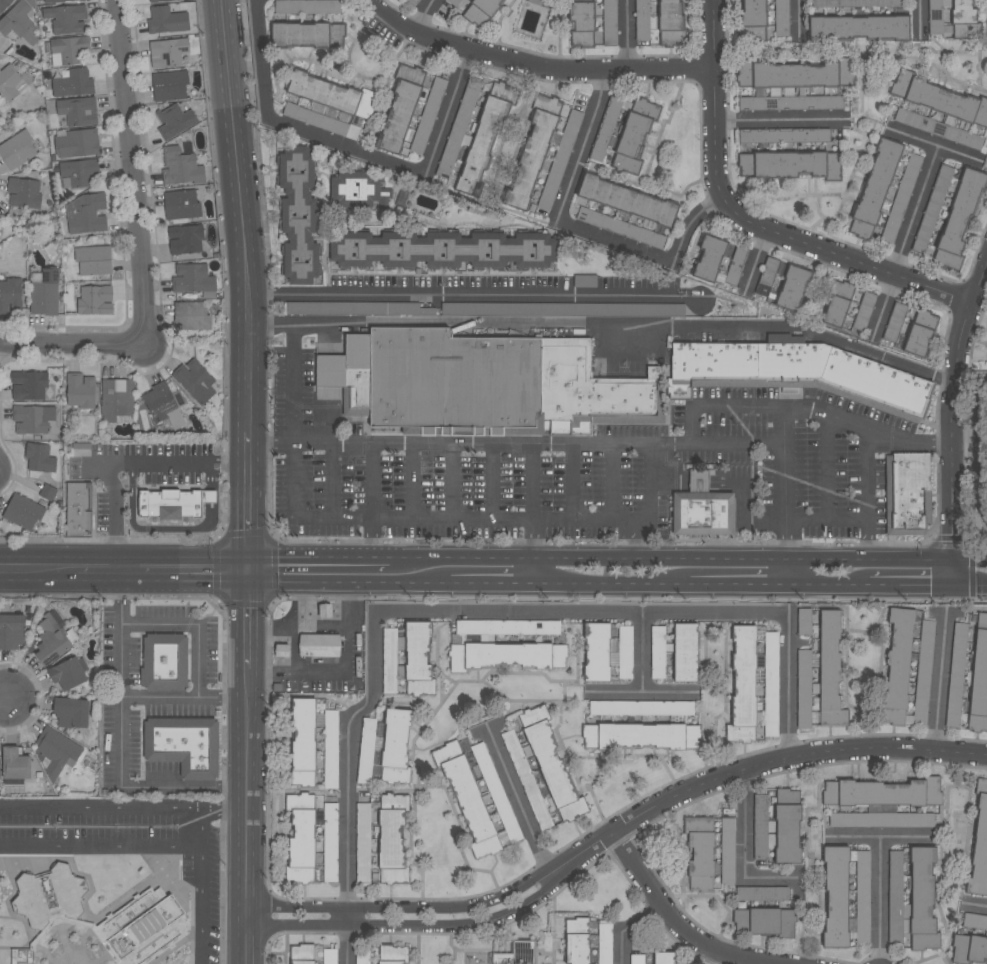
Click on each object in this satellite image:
building: (82, 0)
building: (157, 0)
building: (56, 1)
building: (412, 2)
building: (453, 2)
building: (856, 3)
building: (4, 4)
building: (307, 6)
building: (481, 12)
road: (425, 15)
building: (67, 18)
building: (781, 18)
building: (752, 19)
road: (797, 19)
road: (919, 19)
building: (167, 20)
building: (964, 20)
building: (609, 22)
building: (660, 22)
building: (19, 23)
building: (581, 24)
building: (857, 28)
road: (418, 32)
building: (307, 35)
road: (628, 36)
building: (69, 50)
building: (168, 52)
road: (591, 70)
building: (797, 74)
building: (9, 82)
building: (73, 83)
building: (171, 86)
building: (938, 98)
building: (790, 103)
building: (329, 106)
building: (399, 109)
building: (79, 111)
building: (428, 116)
road: (776, 120)
building: (175, 121)
building: (937, 128)
building: (605, 129)
building: (458, 132)
building: (634, 134)
building: (784, 135)
building: (77, 143)
building: (481, 146)
road: (354, 147)
road: (237, 148)
building: (18, 149)
building: (532, 152)
road: (957, 155)
building: (54, 159)
building: (560, 160)
building: (789, 165)
building: (180, 167)
road: (132, 171)
building: (78, 172)
road: (922, 185)
building: (874, 188)
building: (358, 192)
building: (25, 193)
building: (901, 198)
building: (626, 200)
building: (181, 205)
building: (932, 209)
building: (86, 214)
building: (298, 215)
building: (959, 219)
road: (746, 222)
building: (0, 225)
building: (622, 228)
road: (579, 229)
building: (185, 239)
building: (442, 250)
road: (755, 259)
building: (93, 260)
building: (720, 261)
road: (985, 262)
building: (766, 276)
building: (192, 279)
building: (792, 288)
building: (45, 294)
building: (10, 295)
road: (476, 295)
building: (94, 300)
building: (837, 304)
building: (353, 308)
building: (563, 309)
road: (251, 311)
building: (863, 311)
building: (191, 316)
building: (894, 322)
road: (778, 328)
building: (920, 333)
road: (73, 342)
building: (797, 374)
building: (194, 381)
building: (483, 384)
building: (29, 385)
building: (80, 391)
building: (116, 399)
building: (159, 401)
road: (951, 405)
building: (29, 419)
road: (294, 438)
road: (333, 443)
road: (272, 444)
road: (467, 444)
building: (80, 449)
road: (249, 449)
park: (979, 456)
building: (40, 458)
road: (126, 460)
road: (93, 468)
road: (334, 480)
road: (453, 481)
road: (492, 481)
road: (532, 481)
road: (573, 481)
road: (614, 481)
road: (415, 482)
road: (784, 486)
building: (47, 492)
building: (906, 492)
building: (173, 503)
building: (78, 508)
building: (701, 508)
building: (23, 512)
road: (840, 522)
road: (634, 539)
road: (373, 540)
road: (867, 541)
road: (533, 551)
road: (786, 552)
road: (662, 559)
road: (968, 560)
road: (309, 561)
road: (39, 571)
road: (163, 572)
traffic signals: (248, 573)
road: (950, 573)
road: (314, 582)
road: (409, 582)
road: (484, 582)
road: (608, 583)
road: (735, 583)
road: (827, 584)
road: (908, 584)
traffic signals: (950, 585)
road: (968, 585)
road: (471, 611)
building: (803, 621)
road: (194, 622)
road: (293, 626)
road: (298, 626)
building: (503, 627)
building: (11, 631)
building: (50, 641)
building: (319, 645)
building: (280, 651)
building: (606, 651)
building: (656, 651)
building: (684, 652)
building: (498, 655)
building: (559, 656)
building: (389, 659)
building: (417, 660)
building: (164, 661)
building: (896, 666)
building: (828, 670)
building: (922, 671)
road: (341, 672)
road: (644, 672)
building: (67, 674)
building: (955, 675)
building: (979, 677)
road: (941, 680)
building: (770, 683)
building: (742, 686)
building: (803, 690)
road: (670, 692)
road: (122, 696)
road: (4, 702)
building: (640, 708)
building: (70, 713)
building: (640, 736)
building: (368, 738)
building: (302, 742)
building: (183, 744)
building: (394, 746)
building: (329, 748)
building: (56, 751)
building: (550, 764)
road: (756, 764)
building: (14, 766)
road: (249, 768)
building: (525, 778)
road: (138, 786)
building: (882, 792)
building: (496, 795)
building: (466, 798)
road: (520, 803)
road: (236, 807)
road: (111, 808)
building: (880, 819)
building: (759, 825)
building: (786, 826)
building: (329, 830)
road: (883, 835)
building: (727, 838)
building: (362, 842)
parking lot: (126, 843)
building: (391, 844)
building: (979, 844)
road: (100, 847)
building: (300, 847)
building: (699, 852)
road: (748, 857)
road: (202, 880)
building: (762, 893)
building: (861, 894)
building: (49, 896)
building: (835, 896)
road: (883, 899)
building: (911, 899)
road: (979, 904)
road: (404, 906)
road: (675, 920)
building: (763, 921)
building: (974, 921)
road: (410, 924)
building: (141, 927)
road: (627, 927)
building: (576, 948)
building: (968, 949)
building: (362, 952)
building: (520, 952)
building: (301, 954)
building: (392, 954)
building: (22, 956)
building: (330, 956)
building: (664, 958)
building: (637, 959)

